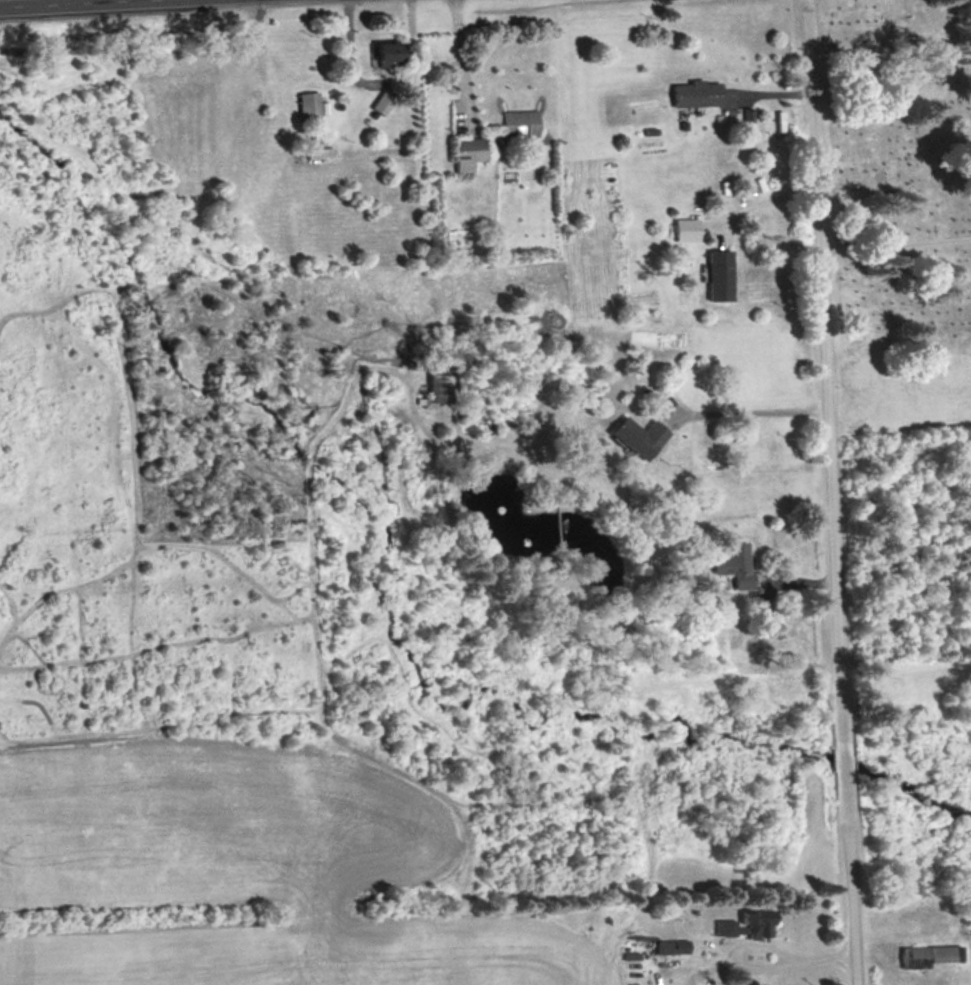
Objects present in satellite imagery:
road: (60, 3)
building: (390, 54)
building: (698, 94)
building: (310, 102)
building: (522, 123)
building: (471, 152)
building: (685, 229)
road: (891, 240)
building: (721, 275)
building: (440, 390)
building: (640, 436)
road: (825, 492)
building: (737, 564)
building: (748, 926)
building: (926, 956)

